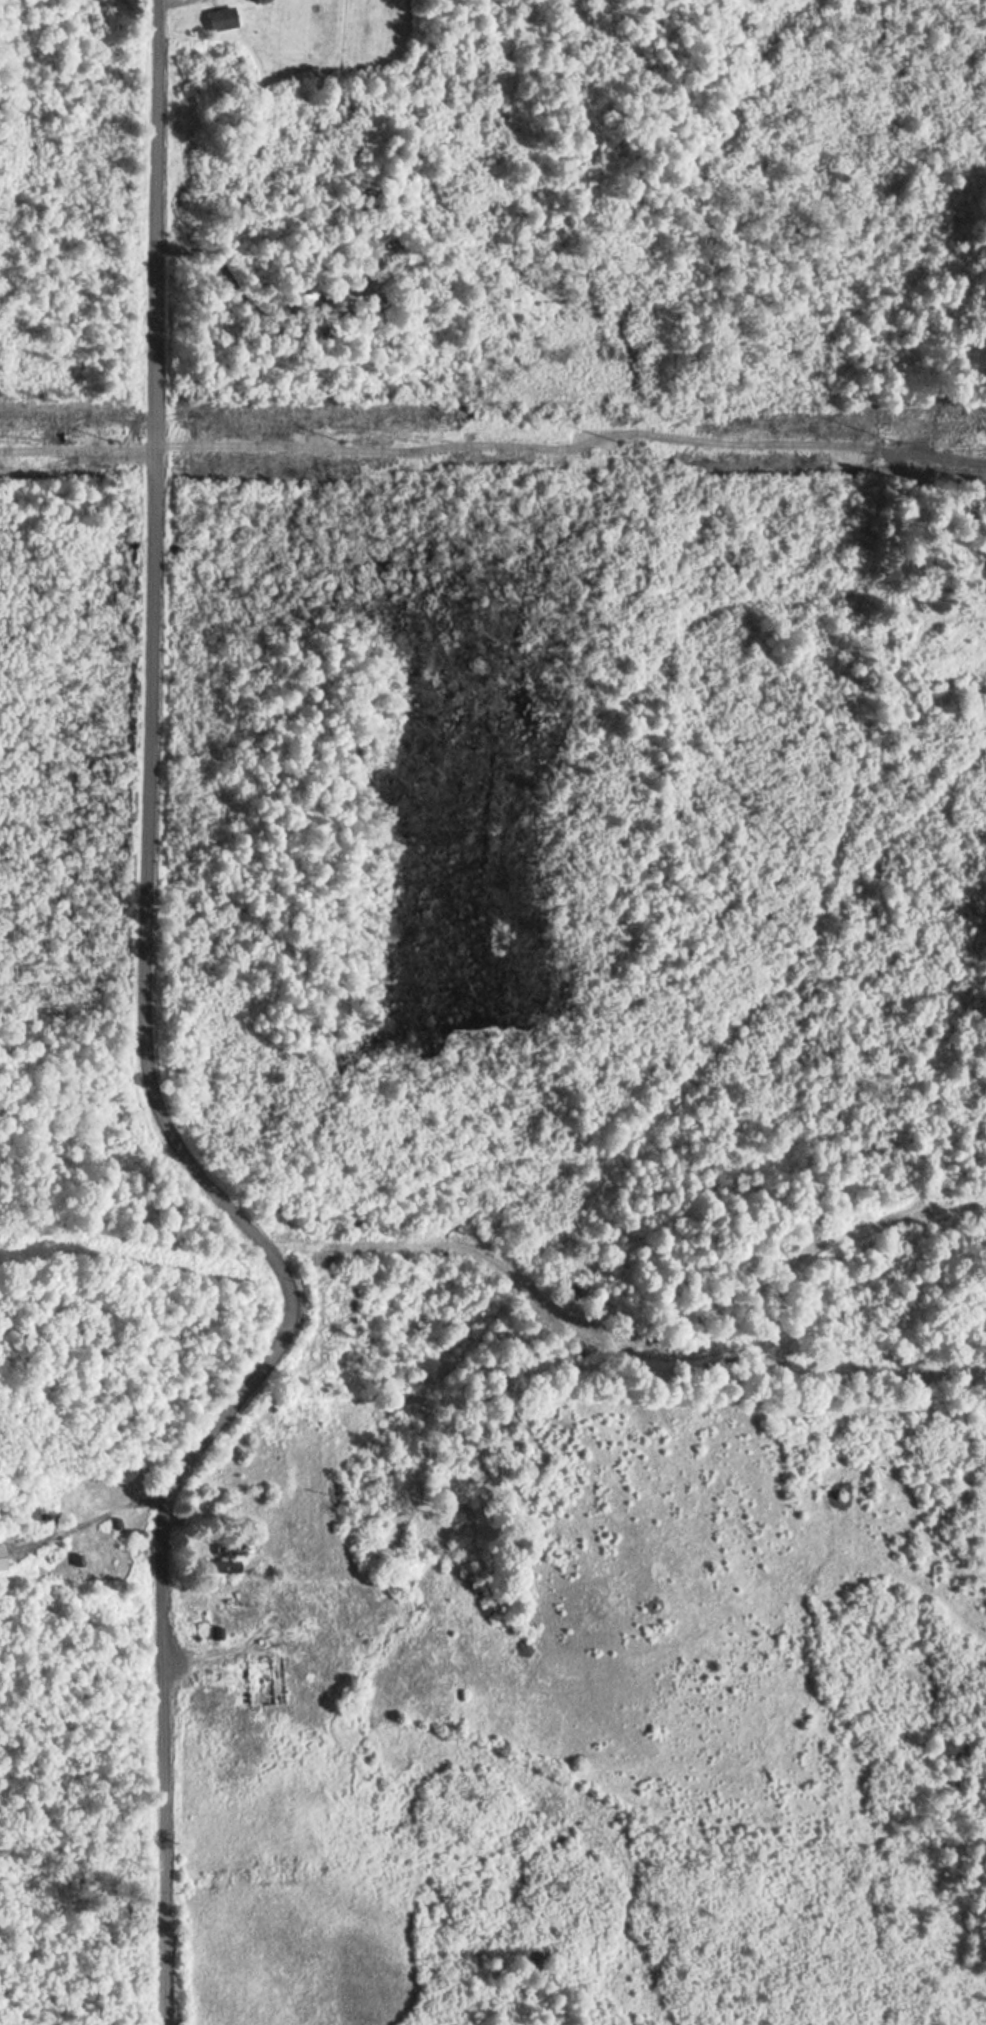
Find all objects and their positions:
building: (218, 20)
road: (145, 1054)
road: (81, 1525)
building: (215, 1567)

